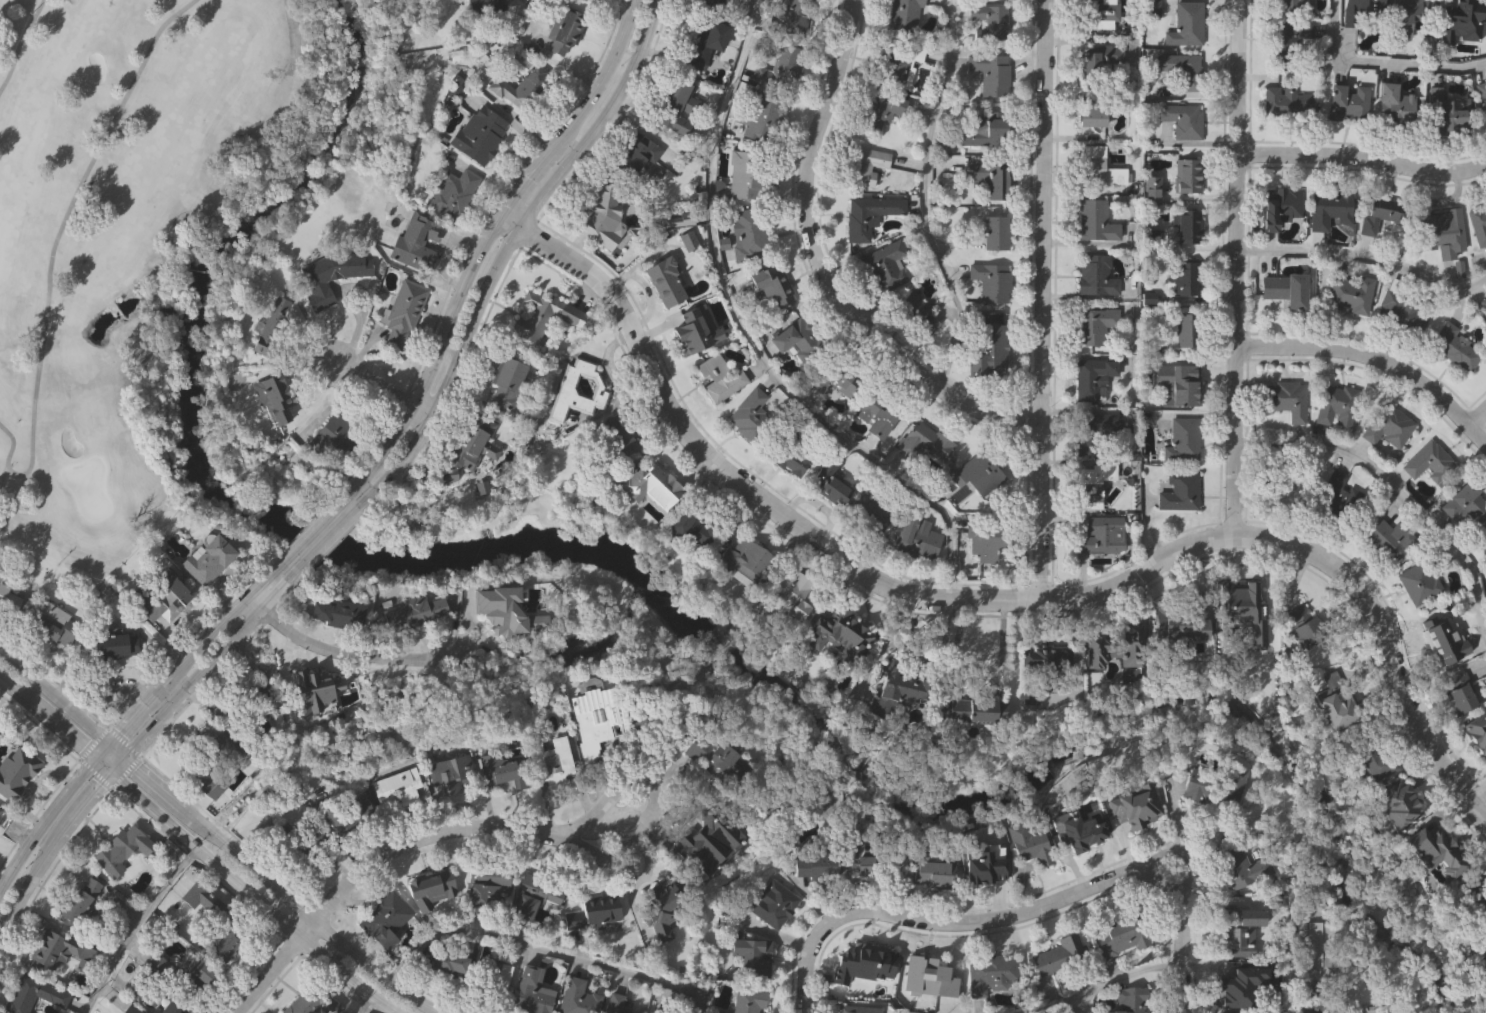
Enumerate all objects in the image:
building: (706, 2)
building: (490, 3)
building: (1293, 5)
building: (1359, 11)
building: (1098, 13)
building: (903, 15)
building: (1458, 17)
building: (794, 18)
building: (1404, 18)
building: (988, 20)
building: (1186, 23)
building: (562, 29)
building: (1288, 38)
building: (696, 43)
road: (21, 47)
building: (898, 62)
road: (1380, 62)
building: (780, 65)
building: (1181, 67)
building: (991, 73)
building: (1094, 80)
building: (520, 86)
building: (1482, 93)
building: (1287, 99)
building: (1347, 101)
building: (1394, 103)
building: (675, 106)
building: (878, 110)
building: (1447, 111)
building: (762, 117)
building: (1182, 118)
building: (985, 130)
building: (478, 133)
building: (635, 153)
road: (1361, 154)
building: (863, 164)
building: (1097, 165)
building: (745, 174)
building: (1187, 174)
building: (993, 177)
building: (451, 192)
road: (924, 197)
building: (1278, 205)
building: (1328, 207)
building: (1378, 212)
building: (868, 214)
building: (603, 217)
building: (1094, 219)
building: (1478, 222)
building: (1189, 224)
building: (994, 231)
building: (1441, 231)
building: (749, 233)
park: (150, 236)
building: (412, 247)
road: (53, 254)
road: (1365, 256)
road: (473, 259)
building: (885, 265)
road: (499, 267)
road: (823, 269)
road: (1233, 269)
building: (331, 273)
building: (1094, 274)
building: (1187, 277)
building: (663, 281)
building: (993, 282)
building: (772, 284)
building: (1284, 288)
building: (1347, 293)
road: (1044, 298)
building: (1484, 301)
building: (1402, 309)
building: (402, 312)
building: (540, 314)
building: (916, 314)
building: (103, 322)
building: (1094, 324)
building: (270, 327)
building: (689, 329)
building: (1186, 329)
road: (747, 335)
building: (796, 340)
building: (1455, 346)
building: (990, 347)
road: (1373, 359)
building: (1090, 376)
building: (719, 377)
building: (837, 377)
building: (1180, 379)
building: (505, 382)
road: (378, 384)
building: (277, 398)
building: (1286, 398)
building: (563, 401)
building: (1336, 405)
building: (874, 412)
building: (750, 415)
road: (1476, 416)
building: (1388, 425)
building: (1090, 431)
building: (618, 435)
building: (332, 438)
building: (1182, 439)
building: (924, 441)
building: (467, 445)
building: (788, 458)
building: (1429, 461)
building: (980, 473)
building: (828, 480)
building: (1093, 481)
building: (650, 485)
road: (1392, 486)
building: (1179, 491)
building: (1286, 494)
building: (1336, 495)
building: (1464, 502)
building: (861, 511)
building: (691, 527)
building: (1102, 535)
building: (917, 536)
road: (302, 539)
building: (981, 539)
building: (1389, 539)
building: (1483, 550)
road: (321, 552)
building: (207, 560)
building: (744, 560)
building: (0, 580)
building: (1419, 583)
building: (786, 590)
road: (995, 597)
building: (164, 601)
building: (496, 606)
building: (1245, 609)
building: (333, 613)
building: (407, 614)
building: (52, 625)
building: (1191, 627)
building: (1308, 629)
building: (836, 633)
building: (1452, 642)
building: (113, 646)
building: (1117, 649)
road: (339, 650)
building: (1041, 666)
building: (900, 688)
road: (52, 695)
building: (1460, 699)
building: (321, 700)
building: (1335, 702)
building: (969, 709)
road: (132, 710)
road: (45, 715)
building: (593, 719)
building: (1477, 732)
road: (139, 738)
building: (711, 754)
road: (123, 757)
building: (1367, 758)
building: (549, 759)
building: (203, 761)
building: (15, 769)
building: (495, 769)
road: (108, 772)
building: (449, 775)
building: (1214, 787)
road: (1476, 788)
building: (395, 789)
road: (648, 792)
building: (1396, 804)
building: (0, 807)
building: (0, 810)
building: (1113, 813)
building: (1060, 831)
building: (1031, 846)
road: (417, 849)
building: (116, 851)
building: (1435, 852)
building: (863, 860)
building: (983, 864)
building: (814, 865)
building: (1241, 867)
building: (931, 870)
building: (485, 885)
building: (432, 891)
building: (534, 896)
road: (288, 897)
building: (77, 900)
road: (259, 901)
building: (770, 902)
building: (1476, 904)
building: (659, 909)
building: (590, 913)
road: (1015, 918)
building: (384, 919)
road: (135, 925)
building: (1241, 932)
building: (1115, 935)
building: (222, 943)
building: (57, 948)
road: (546, 950)
building: (1058, 954)
building: (1313, 955)
building: (750, 956)
building: (1481, 956)
building: (445, 961)
building: (857, 966)
building: (200, 971)
road: (263, 973)
building: (990, 973)
building: (492, 976)
building: (930, 976)
road: (1128, 977)
building: (1229, 989)
building: (531, 991)
building: (30, 994)
building: (595, 998)
building: (746, 1000)
building: (1129, 1000)
road: (1050, 1005)
road: (1084, 1005)
building: (1483, 1006)
road: (366, 1007)
building: (857, 1008)
building: (1307, 1011)
building: (150, 1012)
building: (653, 1012)

